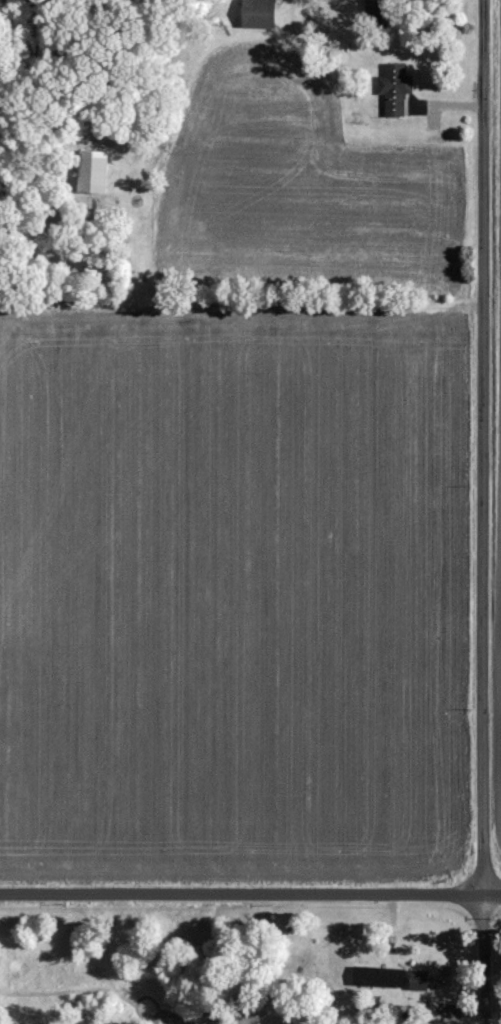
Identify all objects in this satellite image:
building: (378, 12)
building: (262, 13)
building: (397, 88)
building: (92, 170)
road: (482, 511)
road: (250, 891)
building: (383, 976)
building: (421, 978)

